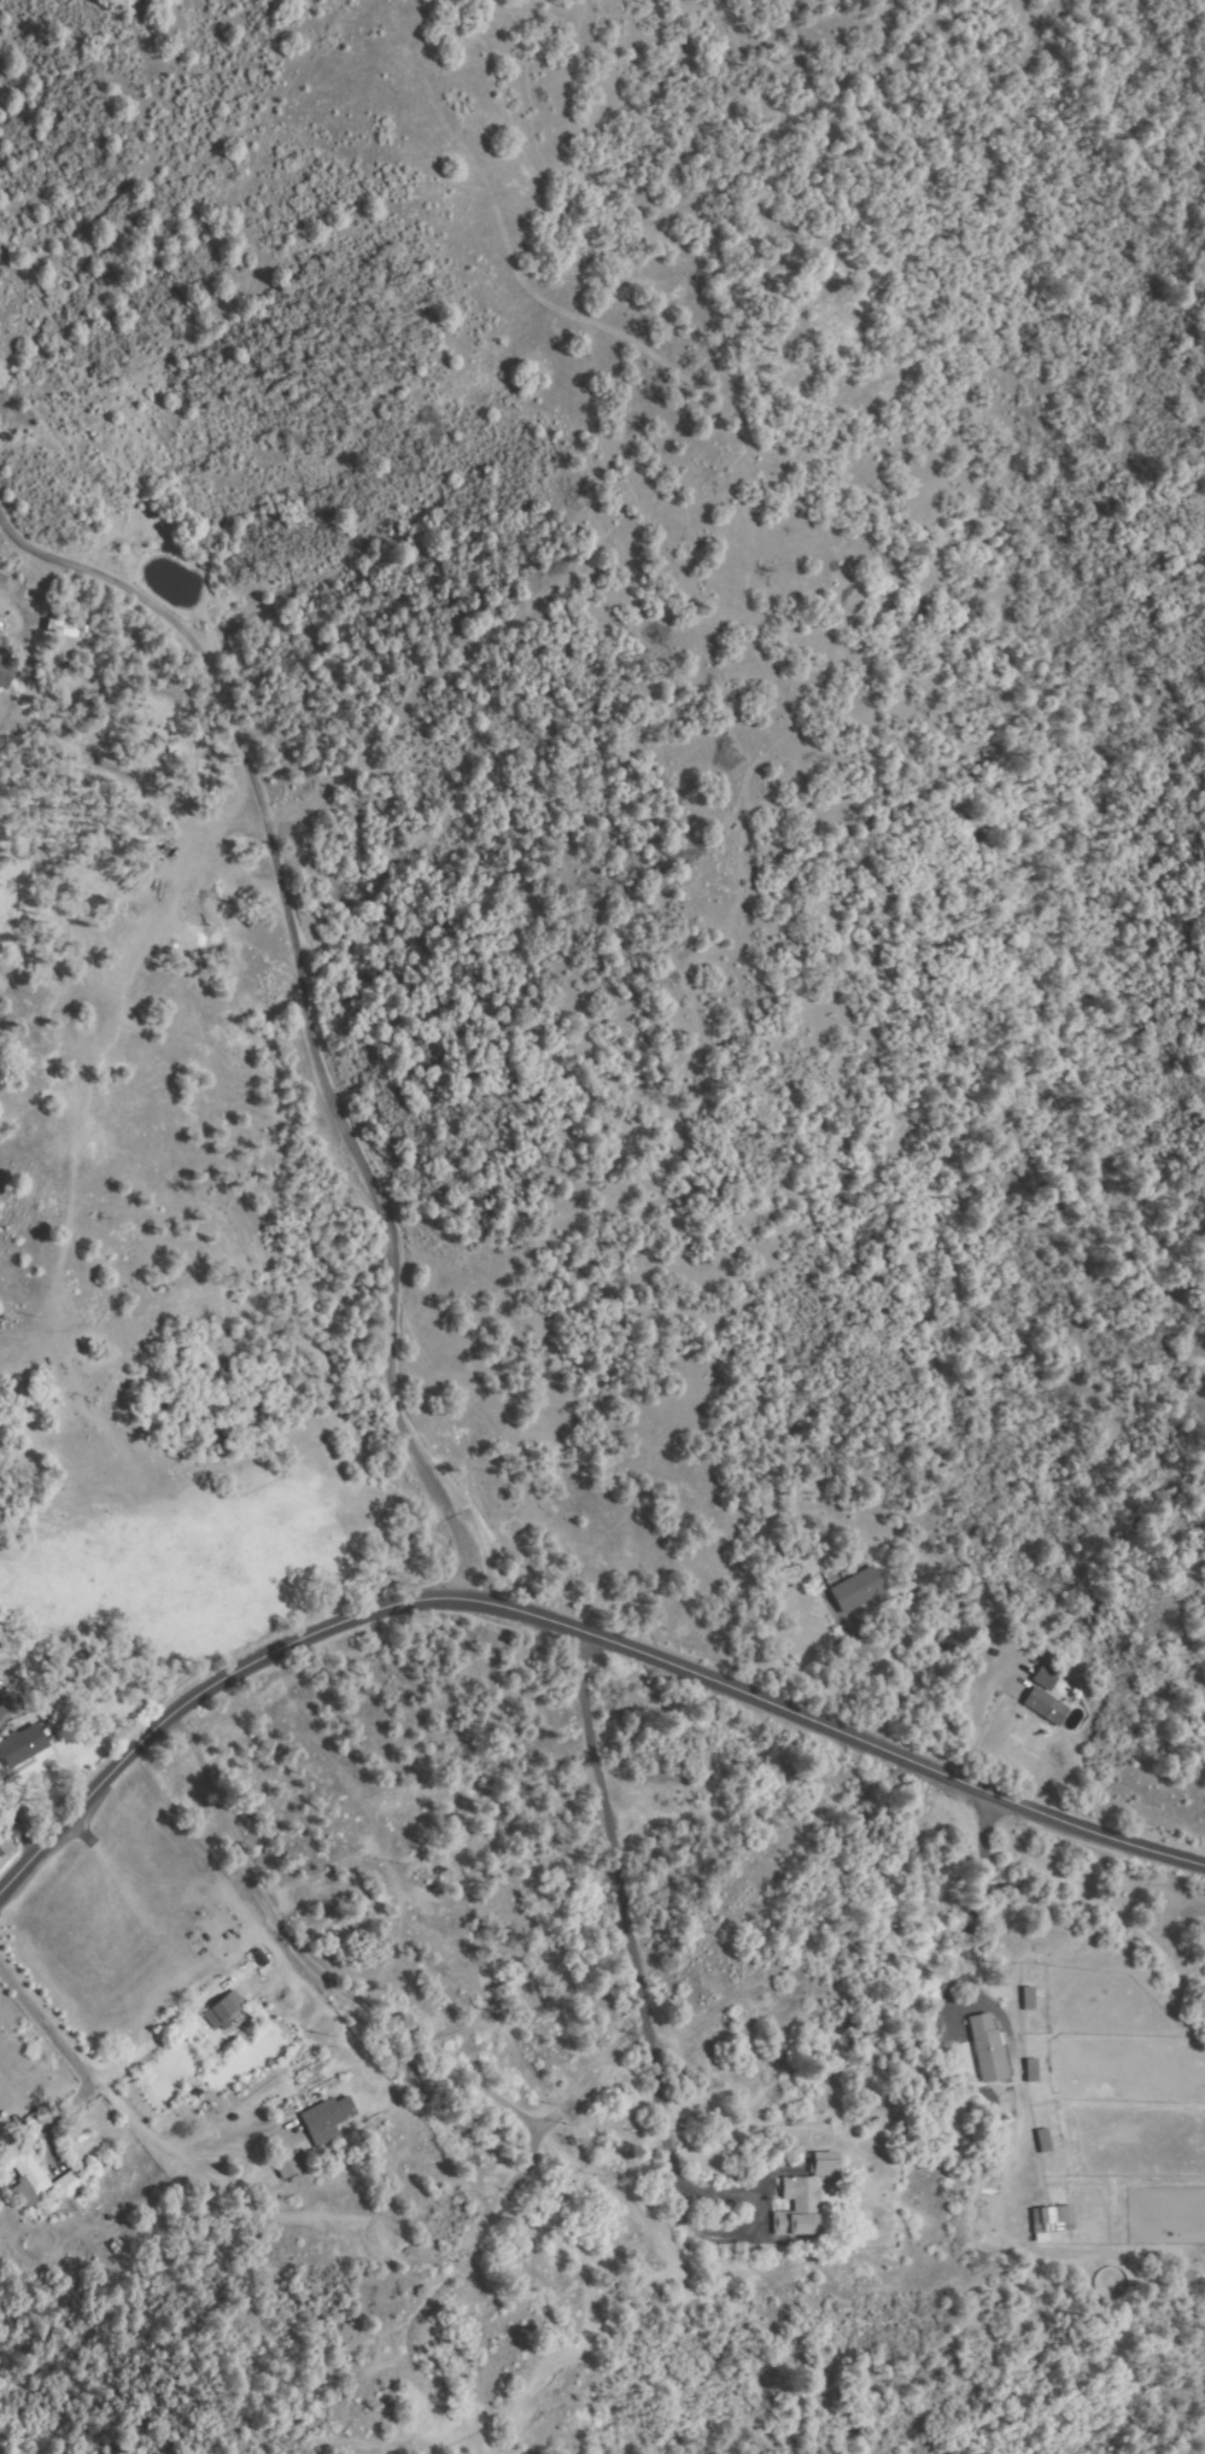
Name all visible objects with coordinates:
building: (68, 626)
building: (5, 670)
road: (305, 999)
building: (858, 1592)
road: (574, 1633)
building: (1045, 1677)
building: (1045, 1706)
building: (22, 1745)
building: (1028, 1999)
building: (224, 2010)
building: (988, 2048)
building: (1031, 2070)
building: (328, 2116)
building: (1043, 2141)
building: (286, 2164)
building: (824, 2164)
building: (21, 2168)
building: (69, 2182)
building: (799, 2207)
building: (985, 2215)
building: (1052, 2222)

